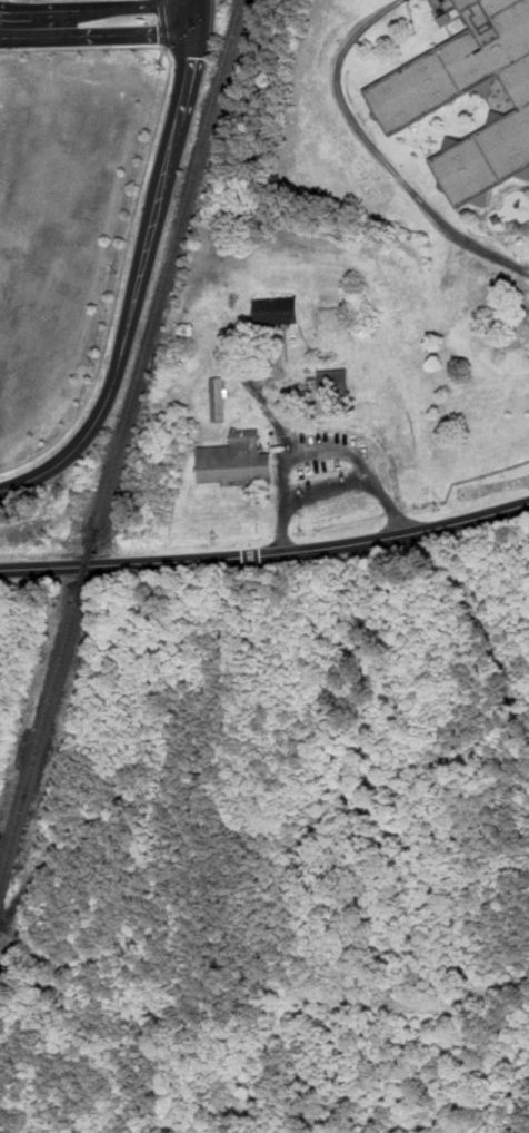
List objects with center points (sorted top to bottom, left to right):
road: (188, 11)
road: (194, 11)
road: (96, 23)
road: (167, 23)
road: (167, 49)
road: (89, 50)
traffic signals: (192, 57)
building: (411, 98)
road: (181, 115)
railway: (169, 263)
road: (120, 289)
building: (277, 309)
road: (117, 376)
building: (333, 380)
building: (219, 398)
road: (323, 449)
building: (236, 459)
road: (480, 476)
road: (328, 485)
road: (267, 553)
railway: (87, 564)
railway: (38, 743)

